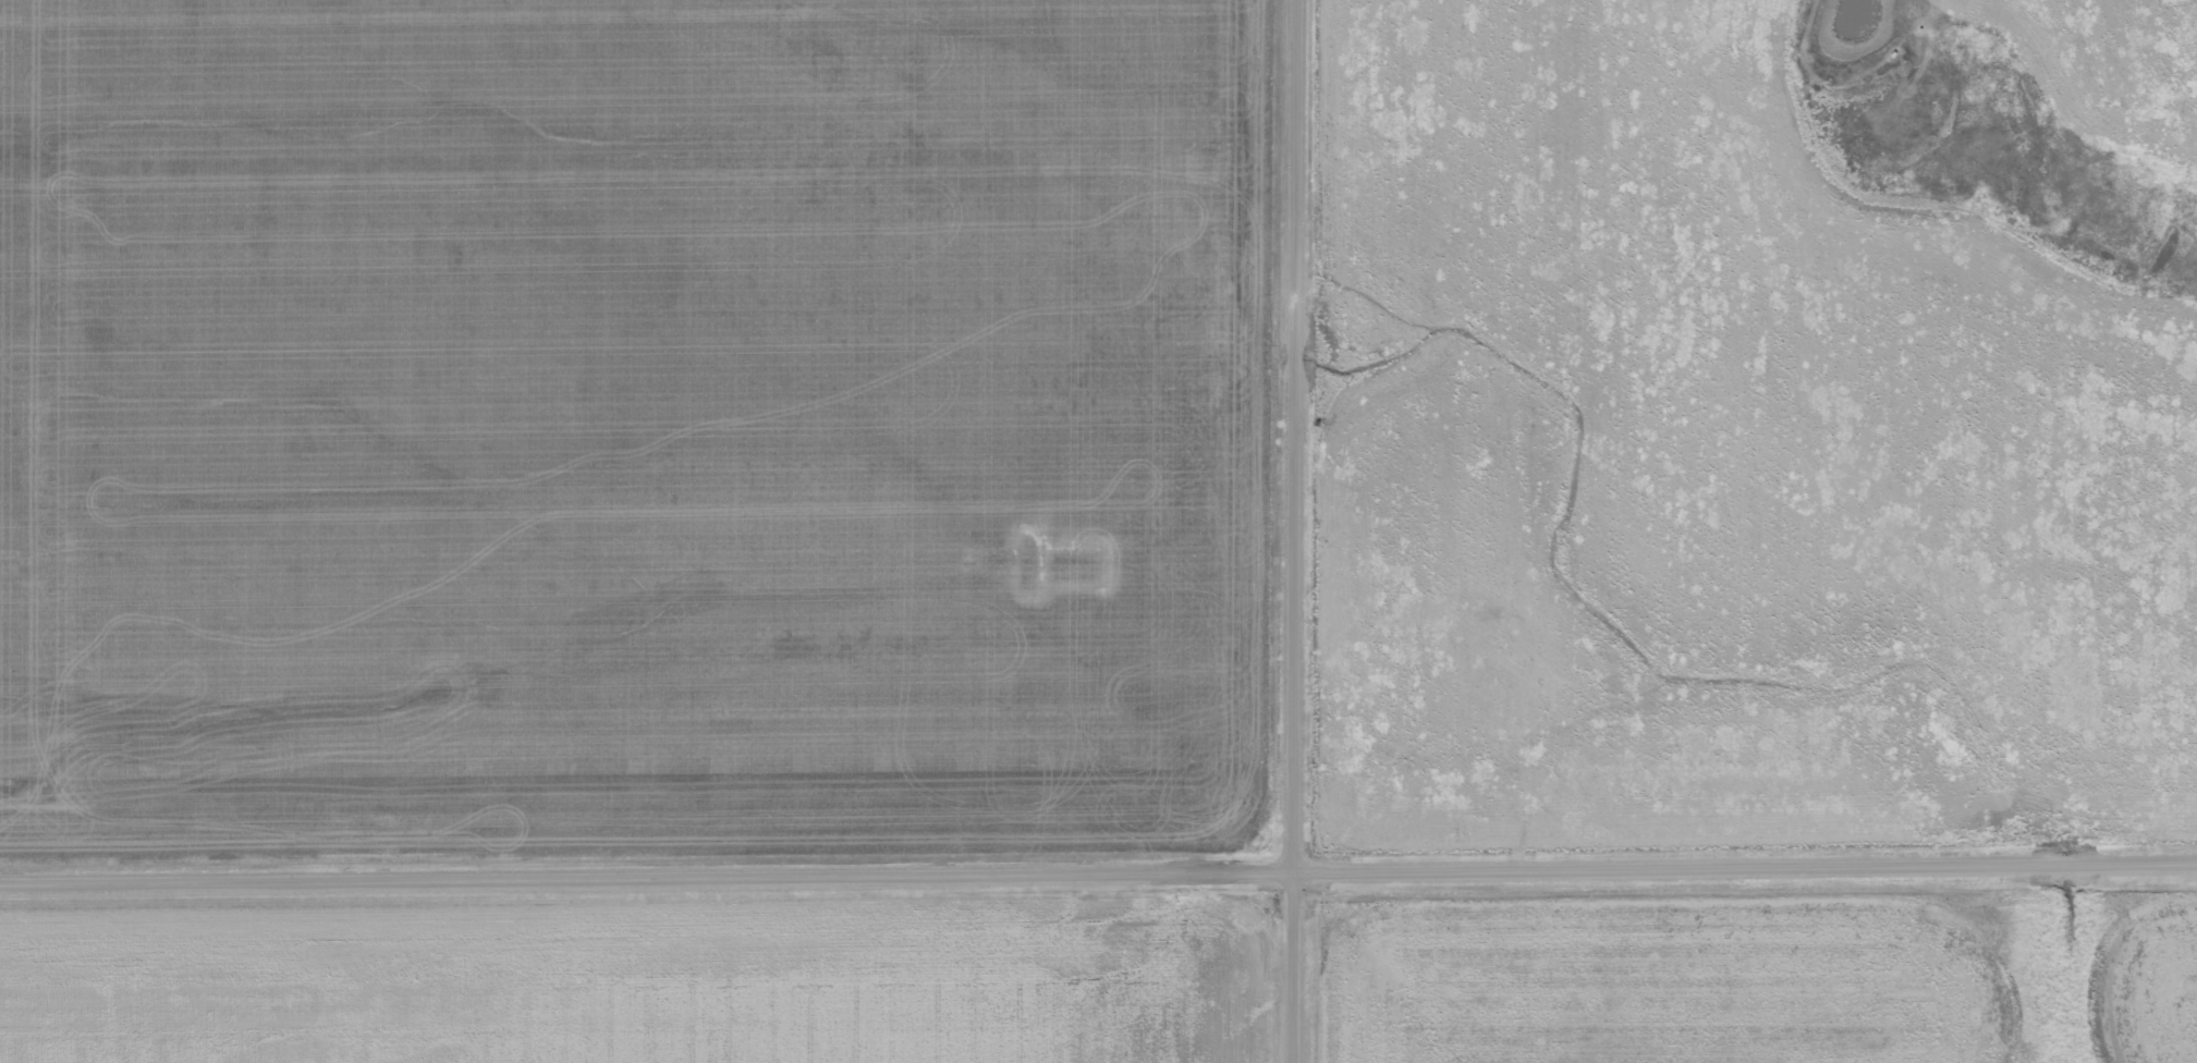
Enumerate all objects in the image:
road: (1299, 531)
road: (1098, 872)

